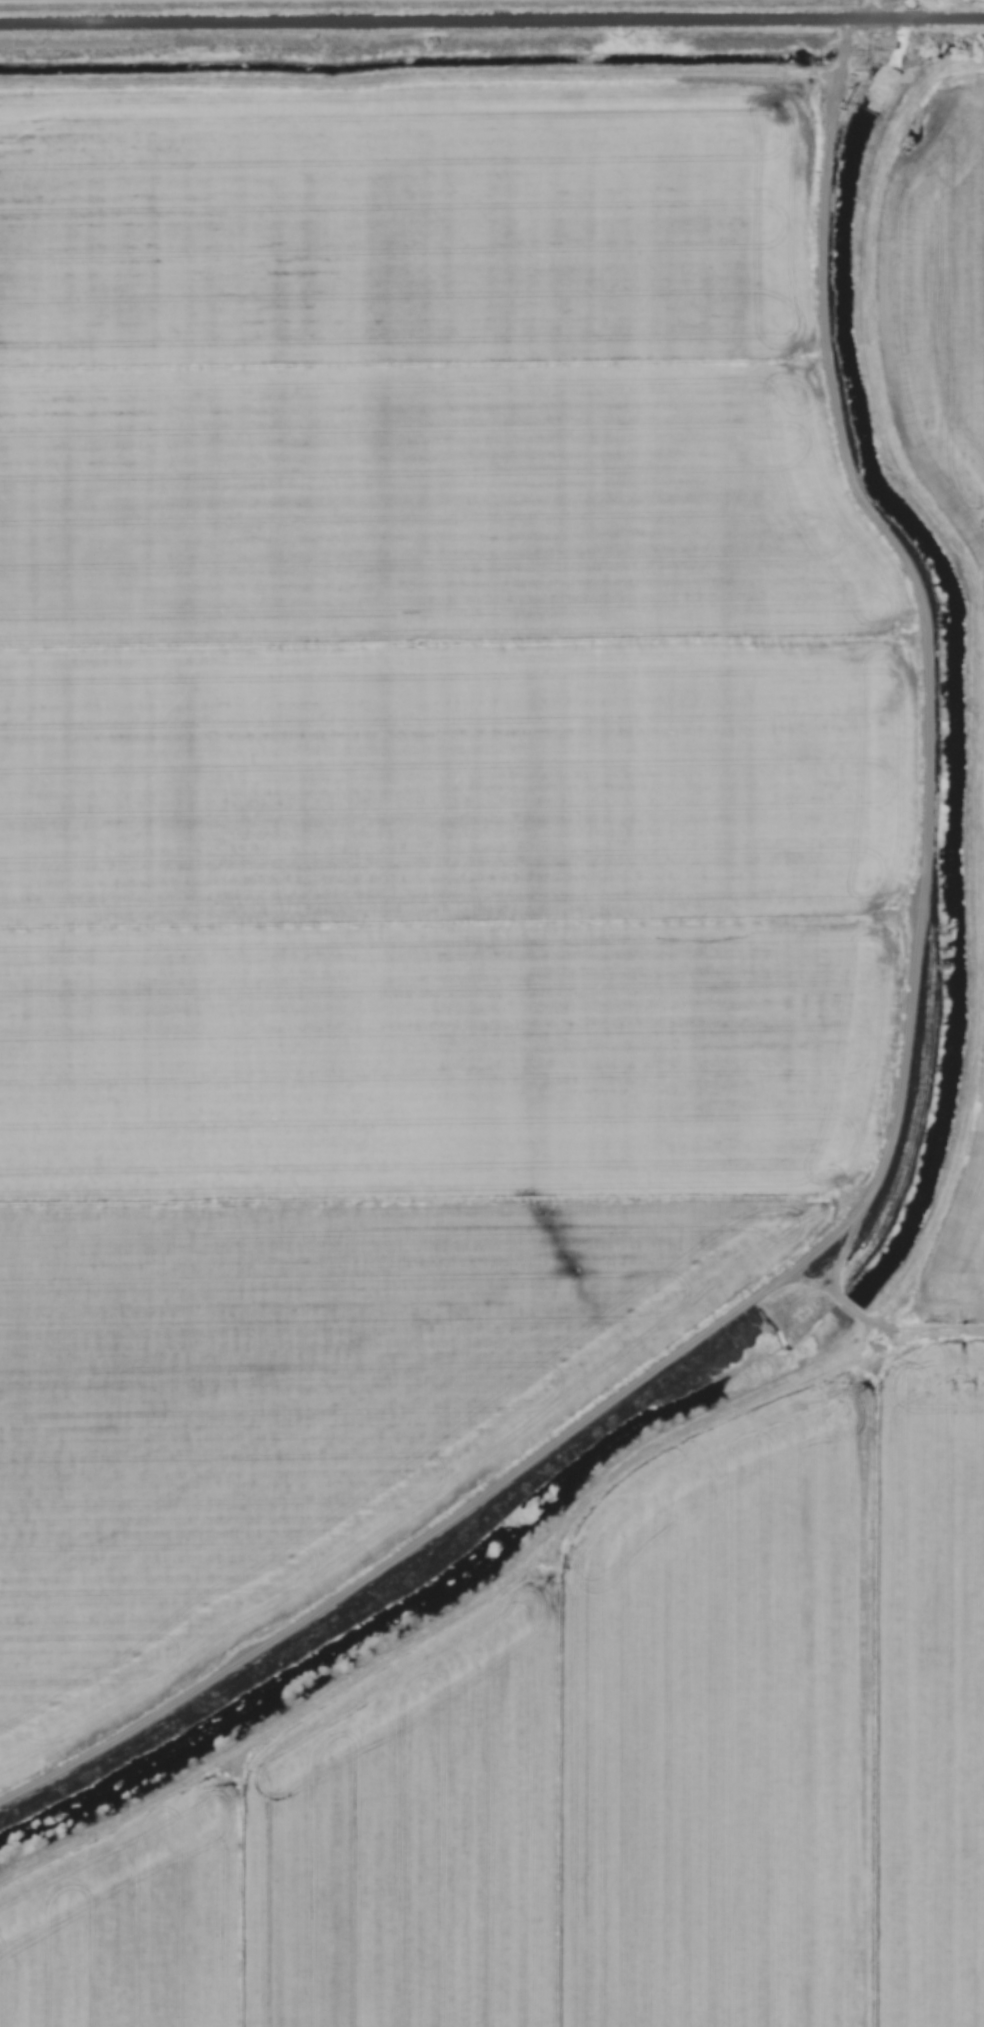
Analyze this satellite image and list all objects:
road: (492, 27)

